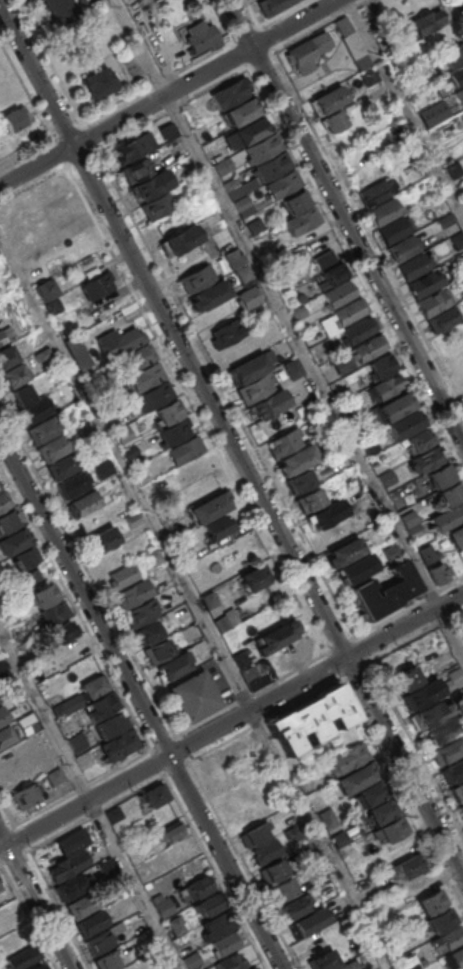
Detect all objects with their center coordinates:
road: (462, 0)
road: (362, 3)
building: (272, 5)
road: (350, 9)
building: (60, 10)
road: (282, 13)
road: (454, 15)
building: (427, 21)
road: (258, 27)
road: (309, 32)
building: (200, 36)
building: (351, 42)
building: (302, 53)
building: (453, 55)
road: (199, 61)
building: (369, 76)
building: (456, 76)
building: (98, 82)
road: (158, 83)
building: (442, 89)
building: (461, 90)
road: (26, 91)
road: (168, 93)
building: (230, 93)
building: (328, 99)
road: (116, 107)
road: (404, 109)
building: (241, 112)
building: (15, 118)
building: (334, 120)
building: (168, 130)
building: (251, 130)
road: (68, 132)
building: (135, 146)
building: (262, 146)
road: (57, 150)
road: (26, 155)
building: (223, 166)
building: (272, 166)
building: (136, 169)
building: (453, 170)
building: (231, 183)
building: (281, 185)
building: (151, 186)
building: (244, 186)
building: (373, 194)
building: (34, 200)
building: (296, 201)
building: (158, 204)
building: (243, 205)
building: (383, 212)
building: (445, 219)
building: (302, 220)
road: (344, 221)
building: (255, 226)
building: (393, 229)
building: (180, 240)
building: (457, 240)
building: (403, 248)
building: (235, 258)
building: (413, 266)
building: (328, 267)
road: (355, 268)
building: (244, 273)
building: (197, 277)
building: (425, 284)
building: (97, 286)
building: (48, 289)
building: (338, 293)
building: (210, 294)
building: (248, 297)
building: (301, 297)
building: (433, 303)
building: (54, 305)
building: (299, 311)
building: (349, 311)
building: (443, 319)
road: (288, 326)
building: (359, 329)
building: (225, 334)
building: (121, 344)
building: (369, 347)
building: (78, 351)
building: (6, 356)
building: (137, 359)
building: (342, 364)
building: (383, 365)
building: (249, 367)
building: (293, 367)
building: (12, 375)
building: (144, 377)
building: (385, 387)
building: (254, 388)
building: (21, 394)
building: (157, 395)
building: (270, 404)
building: (396, 406)
building: (34, 411)
building: (169, 412)
building: (405, 424)
building: (85, 428)
building: (43, 430)
building: (175, 431)
building: (124, 434)
building: (420, 440)
road: (231, 441)
building: (285, 442)
building: (370, 445)
building: (52, 448)
building: (184, 450)
building: (130, 452)
building: (298, 459)
building: (428, 459)
building: (63, 466)
building: (102, 468)
building: (195, 468)
building: (441, 476)
building: (388, 477)
building: (300, 481)
building: (74, 484)
building: (451, 493)
building: (3, 500)
building: (311, 500)
building: (85, 503)
building: (209, 508)
building: (328, 514)
building: (409, 517)
building: (448, 517)
building: (133, 519)
building: (6, 521)
building: (218, 527)
building: (416, 531)
building: (330, 536)
building: (457, 536)
building: (103, 539)
building: (14, 541)
building: (241, 549)
building: (183, 551)
building: (346, 551)
building: (392, 553)
building: (428, 553)
building: (154, 556)
building: (24, 557)
building: (194, 569)
building: (357, 569)
building: (439, 573)
building: (32, 576)
building: (123, 576)
building: (254, 578)
road: (95, 583)
building: (386, 591)
building: (132, 593)
building: (43, 595)
building: (209, 599)
road: (194, 603)
building: (54, 611)
building: (142, 612)
building: (62, 631)
building: (150, 631)
building: (275, 638)
building: (70, 651)
building: (157, 651)
building: (241, 659)
building: (2, 664)
building: (173, 666)
building: (37, 667)
building: (258, 673)
building: (456, 675)
building: (409, 677)
building: (7, 682)
building: (92, 687)
building: (420, 694)
building: (194, 696)
road: (237, 701)
road: (142, 703)
building: (100, 705)
building: (59, 708)
building: (430, 713)
building: (2, 716)
building: (312, 718)
road: (231, 721)
building: (26, 723)
building: (109, 725)
building: (67, 726)
building: (442, 731)
building: (6, 735)
road: (231, 737)
building: (75, 742)
building: (118, 745)
road: (416, 747)
building: (448, 750)
building: (349, 757)
building: (17, 764)
building: (453, 772)
building: (231, 776)
building: (53, 777)
building: (356, 778)
building: (458, 791)
building: (373, 792)
building: (154, 794)
building: (24, 795)
road: (87, 802)
building: (462, 807)
building: (383, 811)
building: (113, 814)
building: (329, 816)
building: (393, 829)
building: (171, 830)
building: (254, 834)
building: (266, 850)
building: (67, 866)
building: (107, 866)
building: (406, 866)
building: (273, 871)
road: (216, 872)
building: (364, 884)
building: (71, 887)
building: (198, 887)
building: (0, 888)
building: (284, 888)
building: (433, 902)
road: (35, 903)
building: (208, 905)
building: (81, 906)
building: (163, 907)
building: (294, 908)
road: (57, 909)
building: (442, 920)
building: (309, 922)
building: (90, 924)
building: (175, 925)
building: (216, 927)
building: (448, 939)
building: (98, 942)
building: (227, 943)
building: (22, 957)
building: (454, 959)
building: (191, 960)
building: (323, 960)
building: (107, 961)
building: (408, 962)
building: (232, 963)
building: (349, 965)
building: (39, 966)
building: (169, 968)
building: (205, 968)
building: (254, 968)

